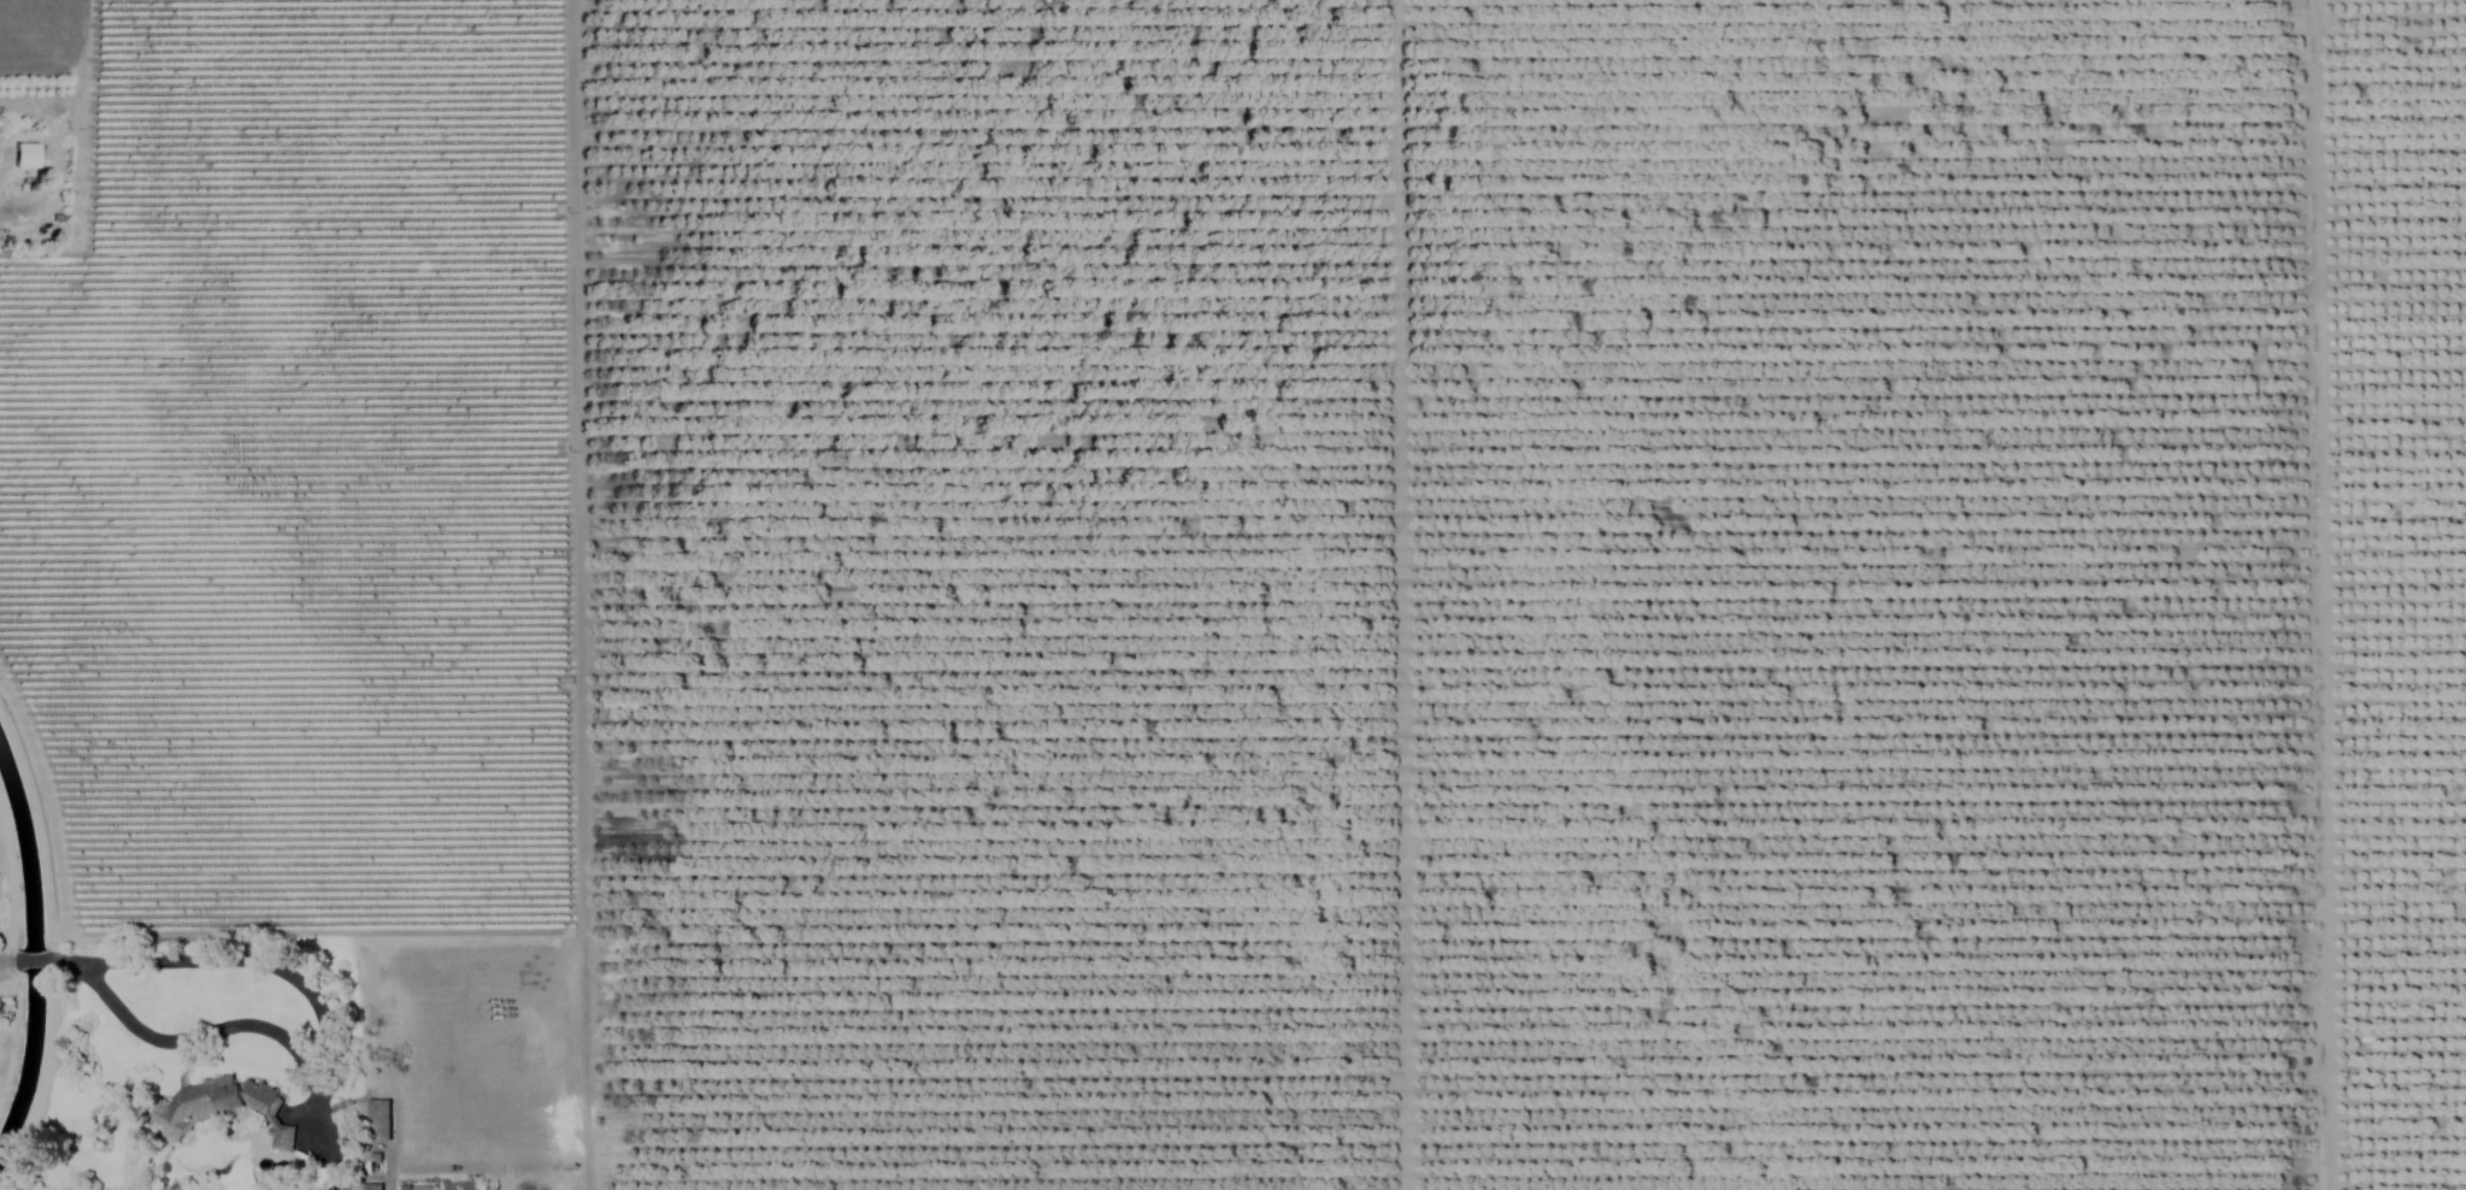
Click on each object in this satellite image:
building: (27, 154)
crop: (1277, 579)
road: (6, 959)
road: (29, 959)
road: (245, 960)
road: (230, 1024)
building: (216, 1098)
building: (379, 1118)
building: (282, 1133)
building: (372, 1185)
building: (416, 1186)

